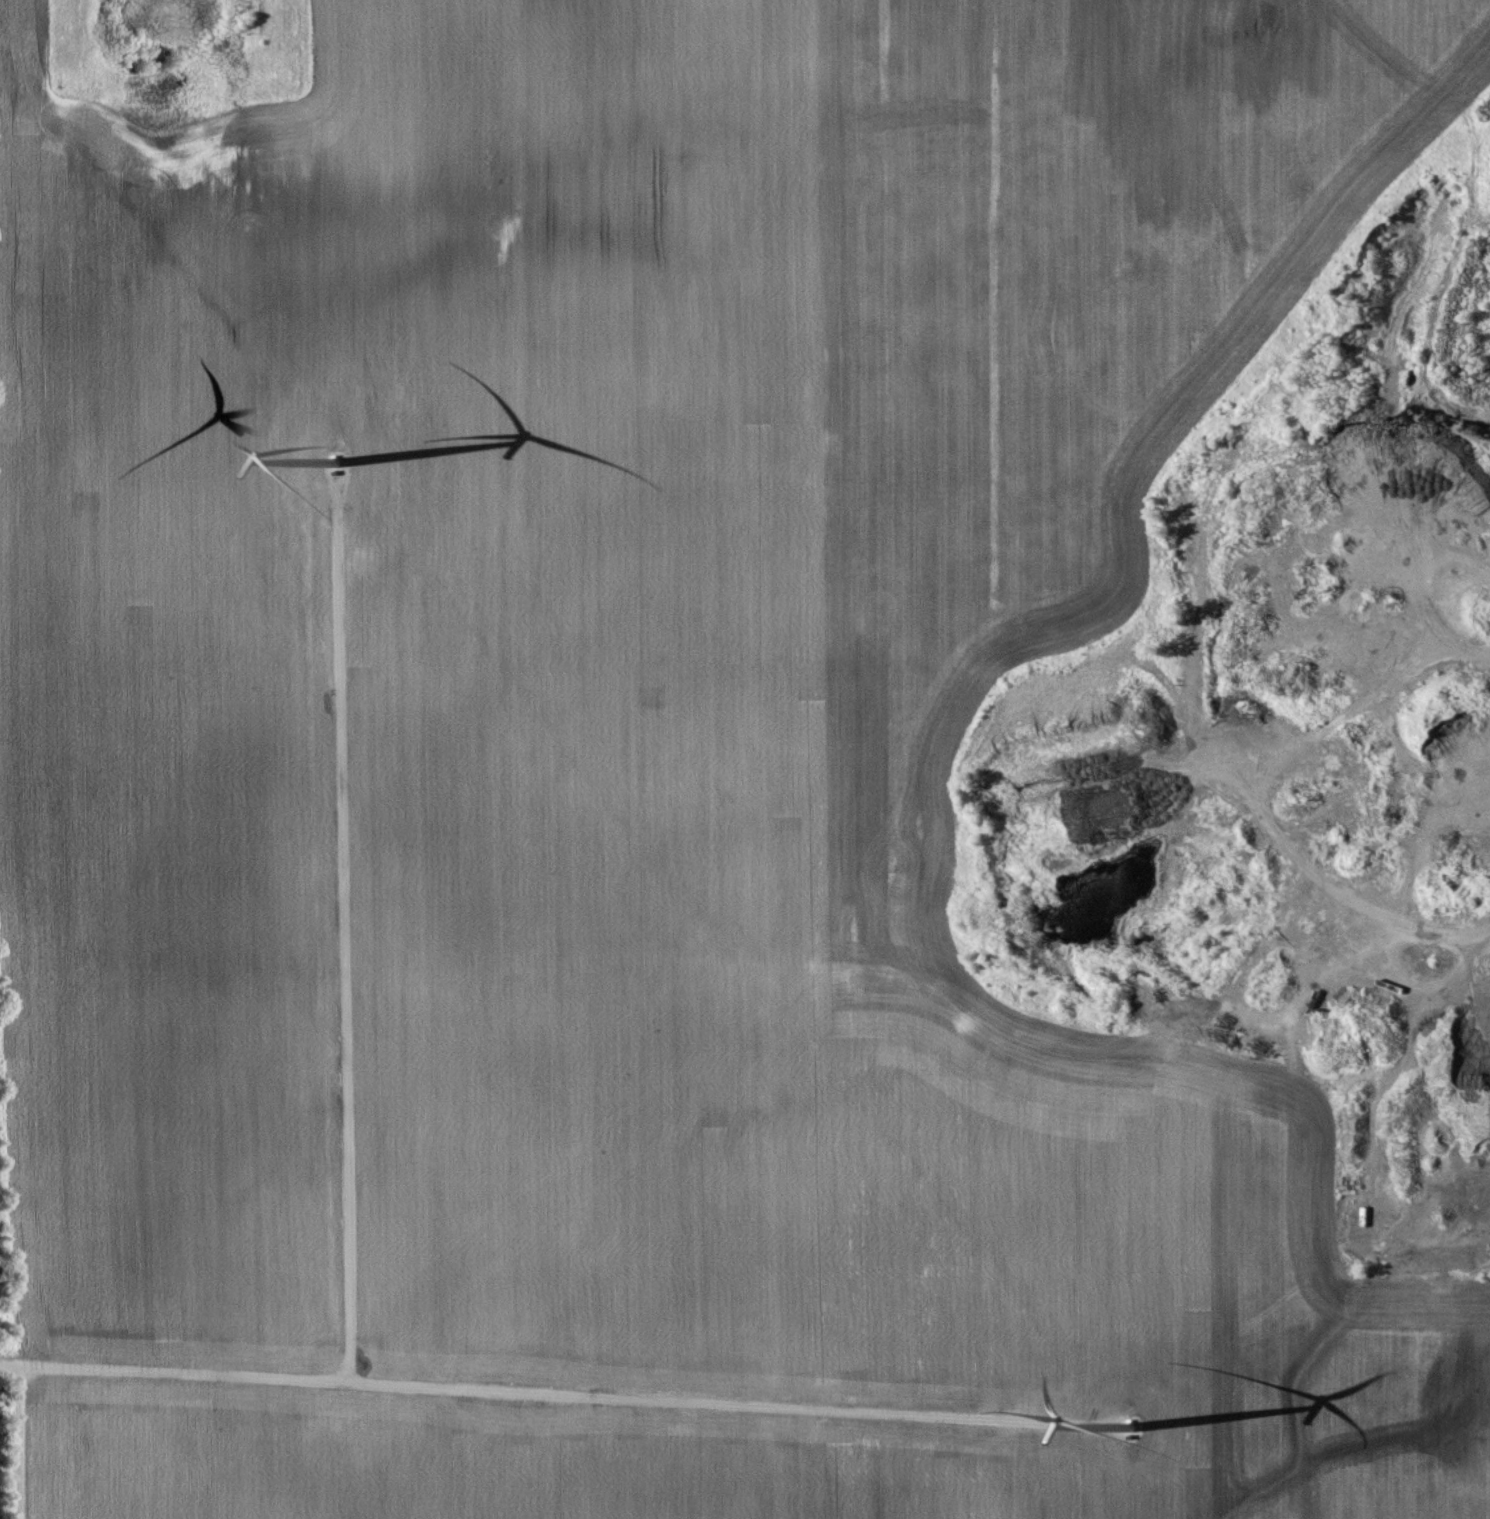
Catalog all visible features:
wind turbine: (345, 465)
road: (342, 938)
road: (539, 1393)
wind turbine: (1117, 1432)
road: (22, 1442)

